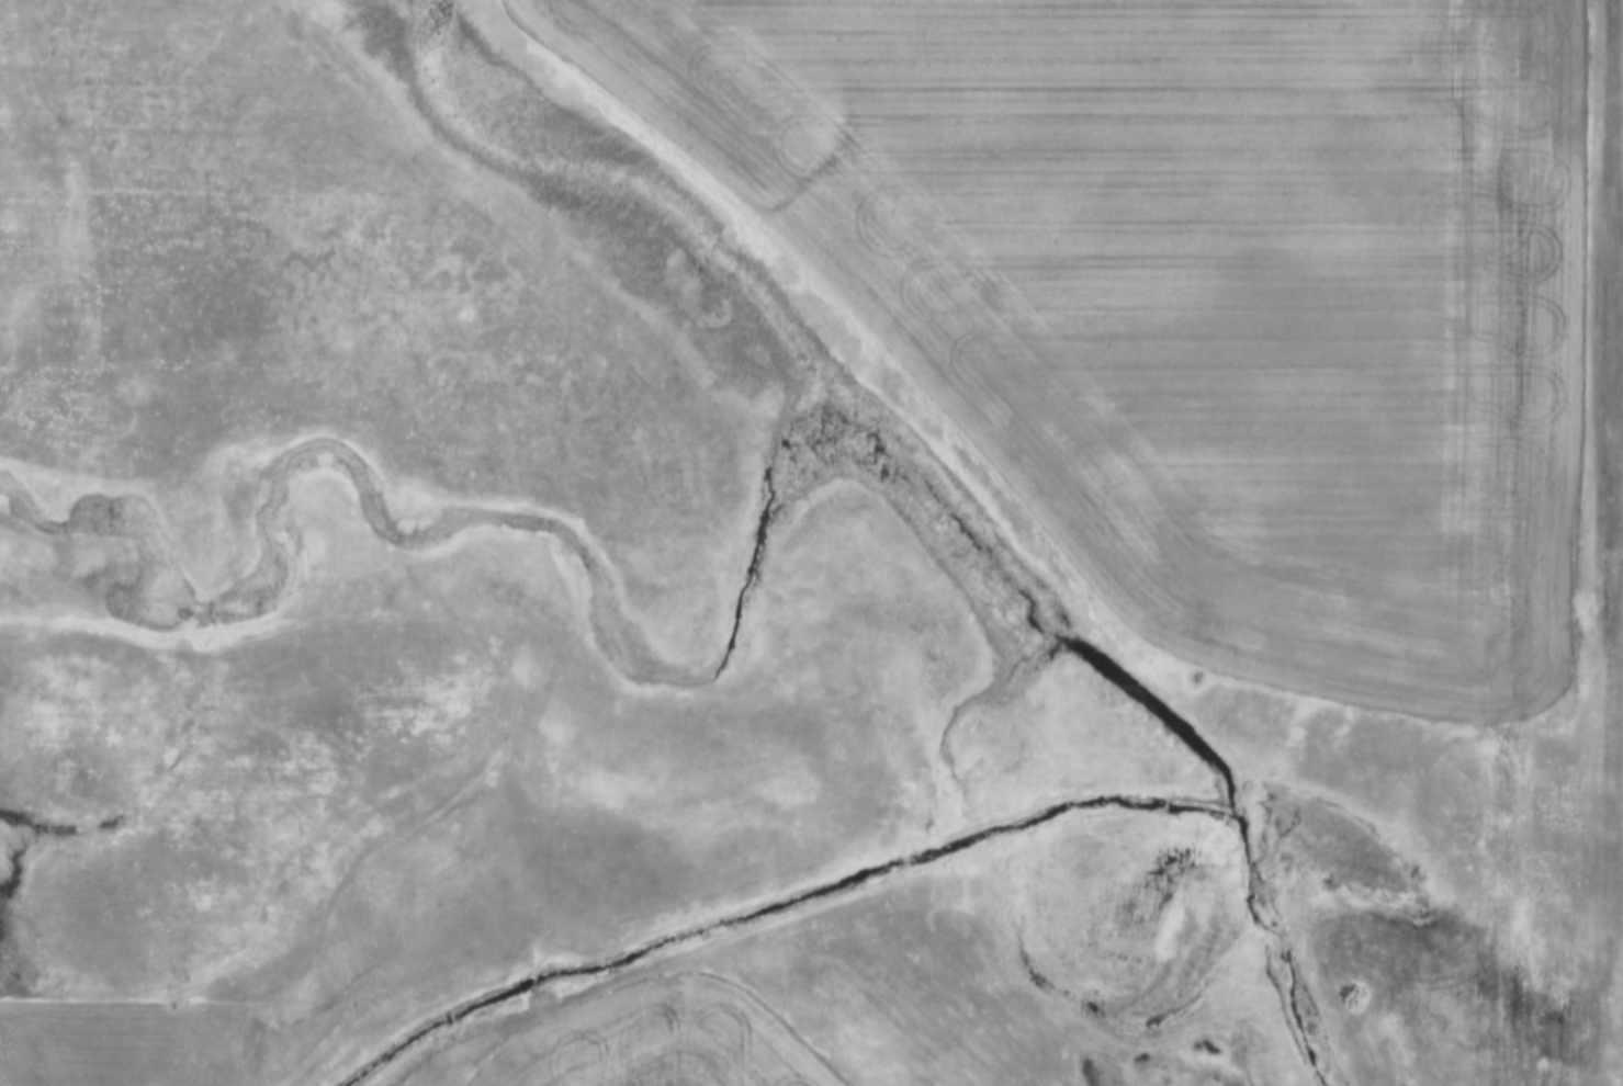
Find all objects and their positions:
airport: (154, 1042)

